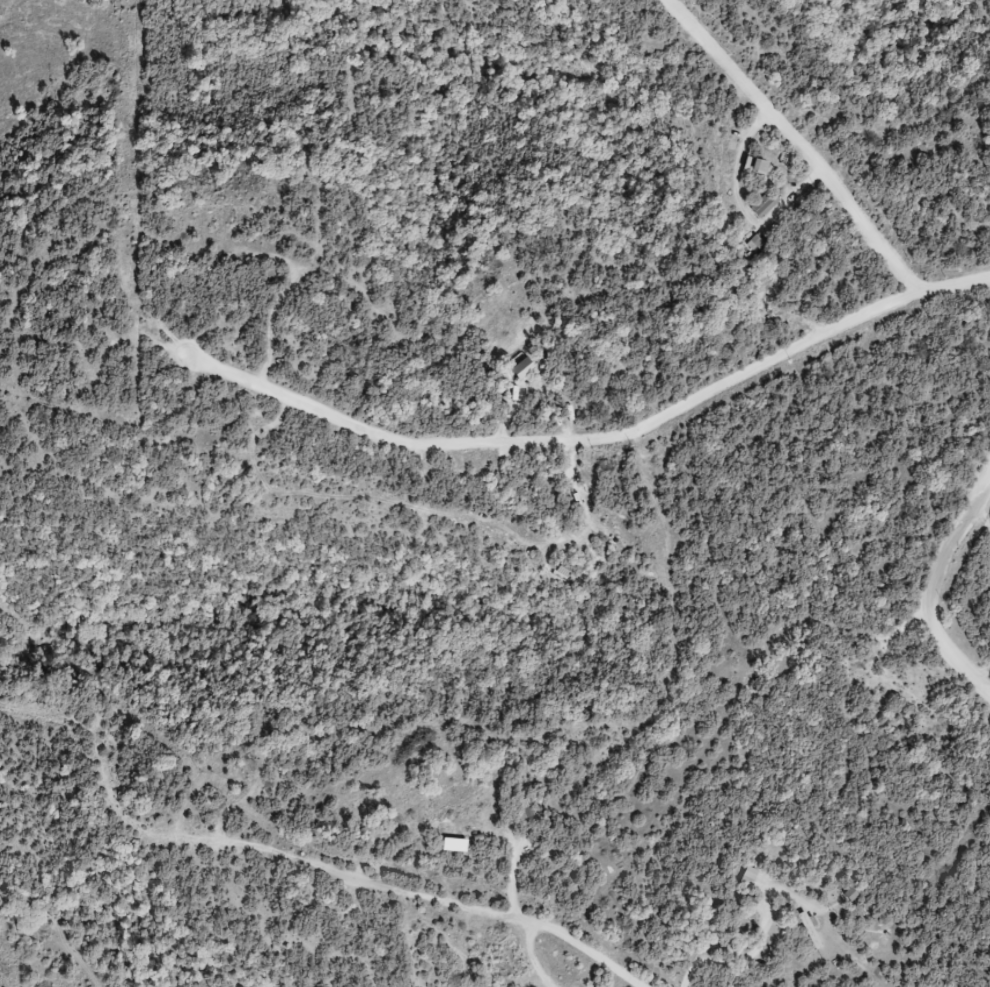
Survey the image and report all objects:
road: (794, 142)
building: (764, 168)
building: (767, 206)
road: (596, 434)
road: (936, 580)
building: (529, 815)
road: (480, 906)
building: (809, 928)
road: (739, 957)
building: (511, 961)

